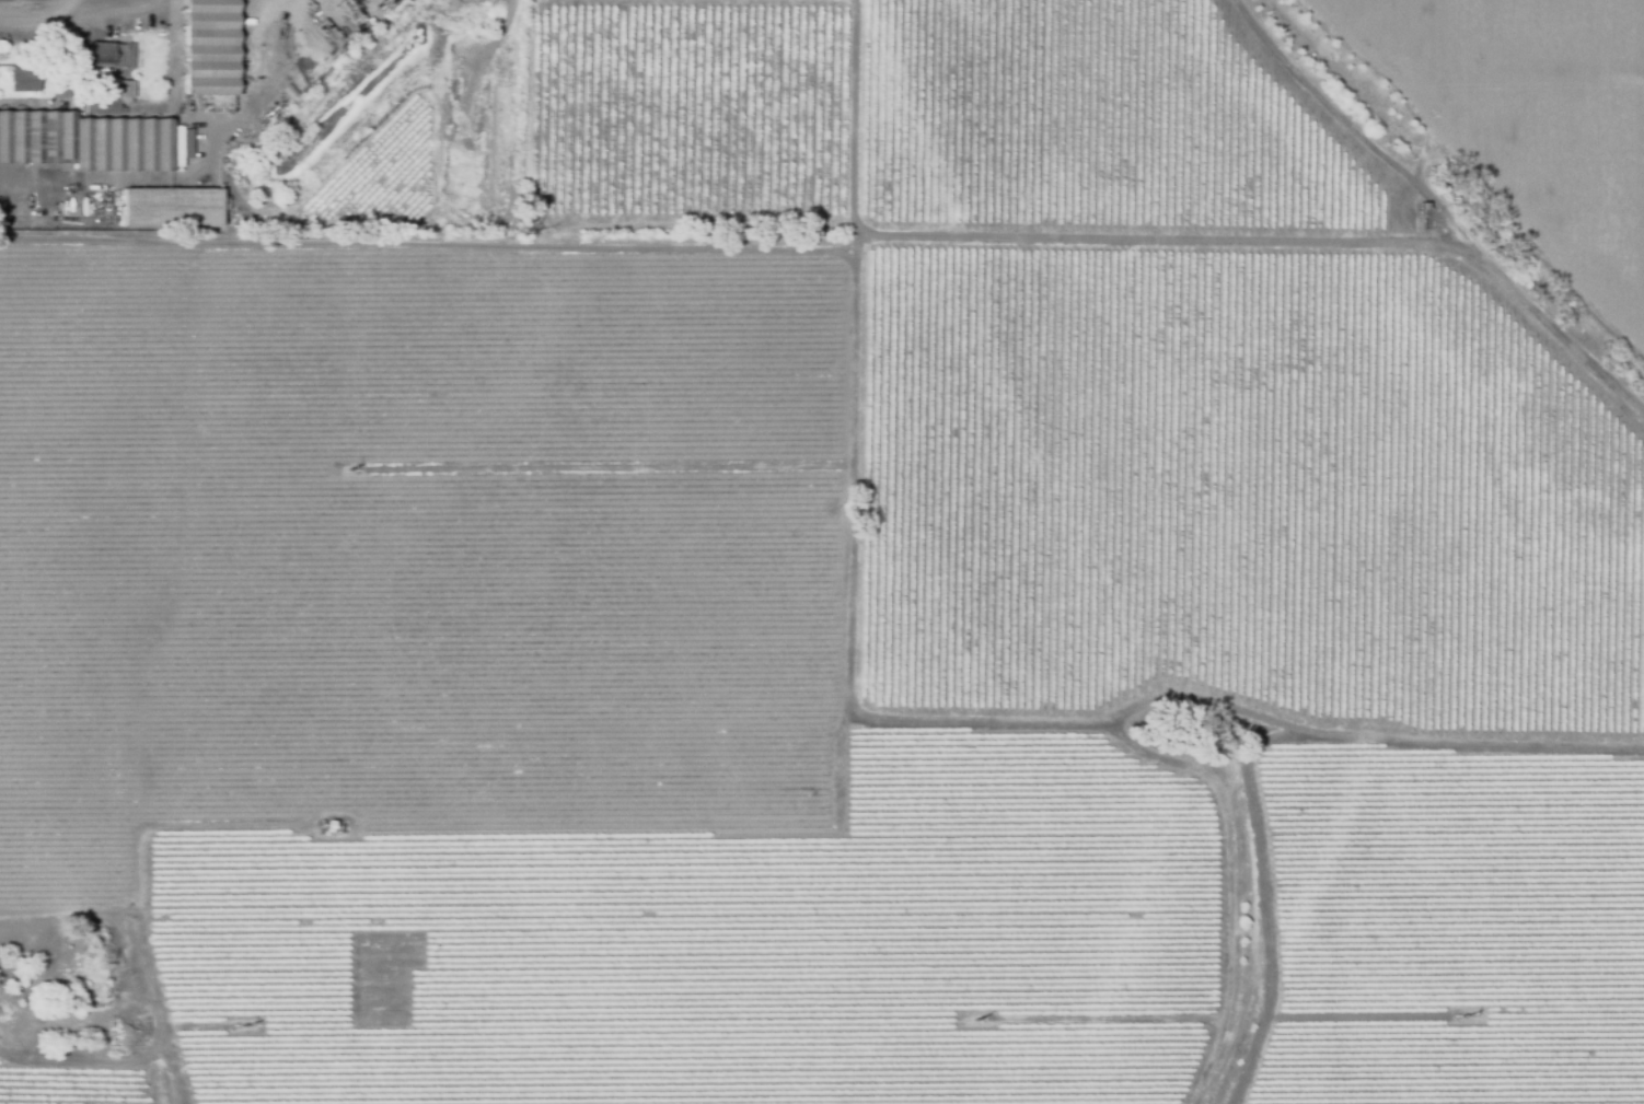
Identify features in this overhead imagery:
road: (34, 12)
building: (208, 48)
building: (108, 56)
road: (265, 74)
building: (22, 81)
building: (111, 101)
road: (1348, 125)
building: (84, 143)
building: (1421, 207)
building: (170, 209)
road: (1045, 237)
road: (1555, 326)
building: (328, 824)
building: (3, 1002)
building: (70, 1029)
building: (18, 1034)

